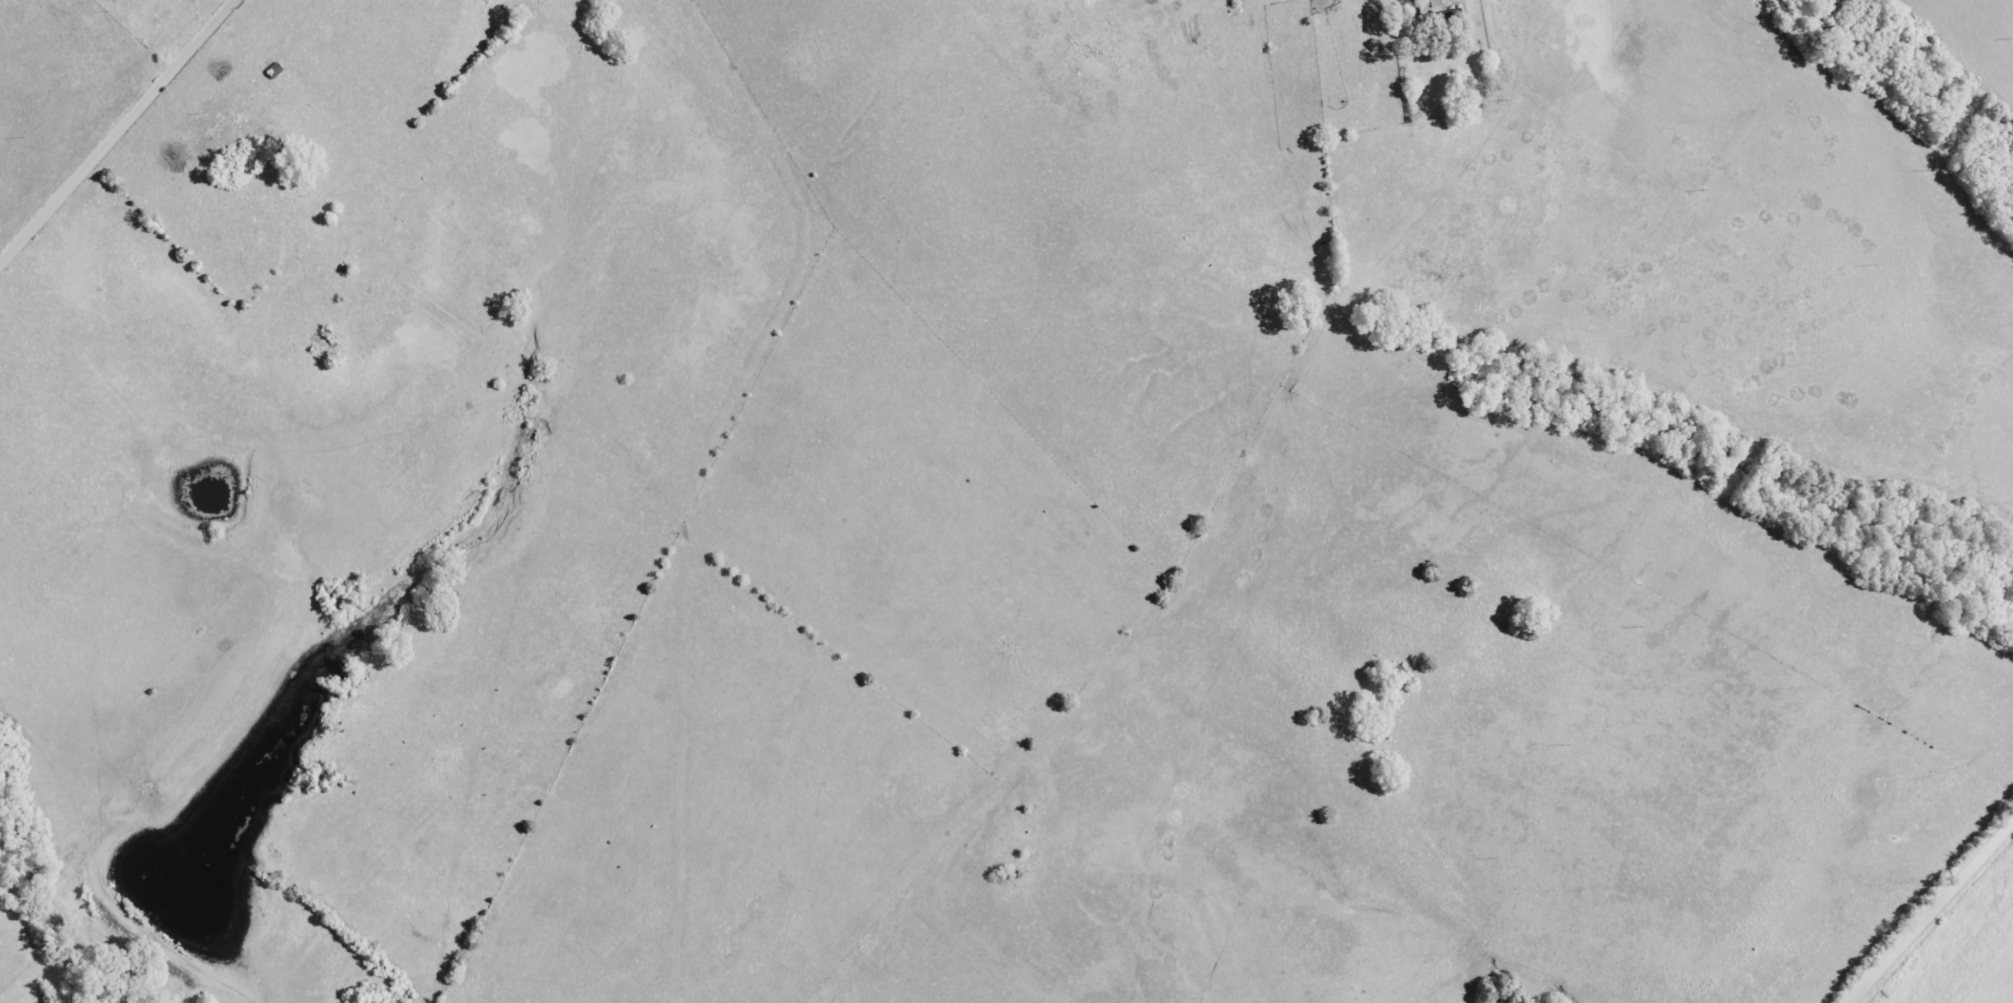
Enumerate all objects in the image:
road: (119, 135)
road: (1934, 915)

